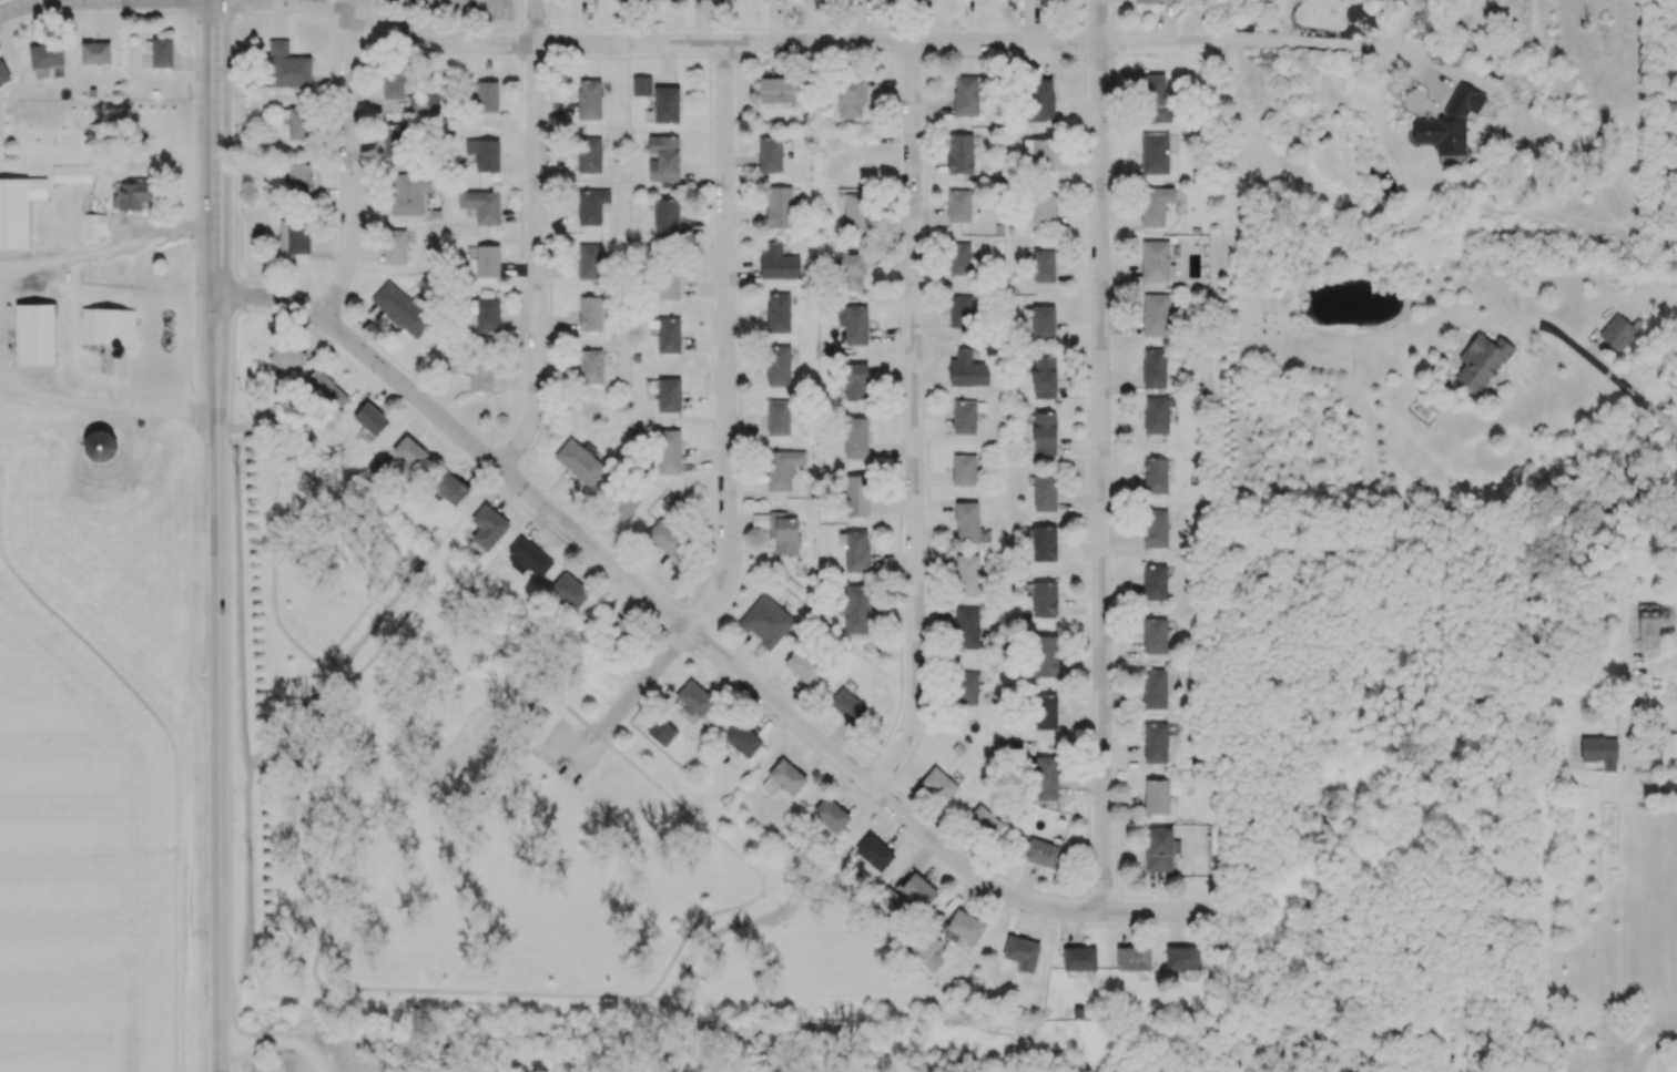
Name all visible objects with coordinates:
building: (1156, 0)
road: (79, 1)
road: (80, 2)
road: (358, 8)
road: (465, 8)
road: (128, 11)
road: (540, 23)
road: (817, 47)
building: (161, 52)
building: (95, 54)
building: (45, 55)
building: (287, 65)
building: (3, 73)
building: (393, 83)
building: (641, 85)
building: (776, 90)
building: (487, 95)
building: (965, 95)
building: (589, 98)
building: (850, 98)
building: (1155, 99)
building: (1039, 100)
road: (216, 102)
building: (424, 103)
building: (665, 104)
building: (1450, 122)
building: (298, 123)
building: (394, 141)
building: (959, 152)
building: (484, 153)
building: (1039, 153)
building: (1155, 153)
building: (589, 154)
building: (770, 154)
building: (663, 157)
building: (70, 173)
road: (350, 173)
building: (298, 177)
building: (409, 192)
building: (133, 193)
building: (481, 205)
building: (591, 205)
building: (958, 205)
building: (1155, 205)
building: (779, 206)
building: (853, 207)
building: (17, 208)
building: (1044, 211)
building: (665, 217)
building: (93, 226)
building: (294, 236)
building: (395, 246)
road: (108, 248)
road: (216, 249)
building: (958, 258)
building: (487, 261)
building: (590, 261)
building: (1156, 261)
building: (779, 263)
road: (537, 265)
building: (1044, 265)
building: (852, 269)
building: (668, 285)
building: (402, 308)
building: (961, 310)
building: (777, 312)
building: (590, 313)
building: (488, 314)
building: (1157, 315)
building: (1043, 321)
building: (853, 324)
building: (106, 326)
building: (1617, 331)
building: (34, 333)
building: (667, 334)
road: (728, 346)
building: (287, 357)
building: (1480, 363)
building: (777, 365)
building: (590, 366)
building: (1153, 367)
road: (1595, 368)
building: (967, 369)
building: (480, 376)
building: (1044, 377)
building: (854, 381)
building: (326, 388)
building: (669, 394)
road: (105, 401)
building: (1157, 414)
building: (966, 416)
building: (370, 418)
building: (777, 418)
road: (914, 425)
road: (241, 427)
building: (1044, 433)
building: (855, 437)
building: (99, 445)
road: (282, 448)
building: (668, 451)
building: (409, 456)
road: (1102, 459)
building: (579, 460)
building: (377, 463)
road: (298, 467)
building: (783, 468)
building: (963, 470)
building: (1155, 476)
building: (449, 487)
building: (1045, 492)
building: (856, 494)
building: (626, 503)
building: (966, 521)
building: (488, 527)
building: (1156, 528)
building: (784, 531)
building: (664, 537)
building: (1043, 543)
building: (856, 550)
building: (529, 555)
building: (967, 574)
building: (1155, 582)
building: (569, 590)
building: (1044, 599)
building: (856, 609)
road: (1622, 620)
building: (765, 621)
building: (1647, 624)
building: (966, 629)
building: (1153, 634)
road: (700, 644)
building: (1045, 655)
building: (803, 664)
road: (218, 683)
building: (1158, 686)
building: (966, 687)
building: (694, 700)
building: (846, 704)
building: (1045, 711)
building: (536, 713)
road: (620, 713)
building: (743, 739)
building: (1155, 742)
building: (1668, 748)
parking lot: (569, 749)
building: (1599, 751)
road: (527, 752)
building: (786, 776)
building: (1046, 777)
building: (938, 784)
building: (1159, 795)
building: (830, 815)
building: (986, 819)
park: (494, 828)
building: (1159, 848)
building: (1041, 851)
building: (873, 853)
crop: (84, 858)
building: (918, 890)
building: (964, 927)
building: (927, 952)
building: (1022, 952)
building: (1079, 958)
building: (1132, 958)
building: (1183, 960)
road: (341, 986)
road: (273, 1049)

